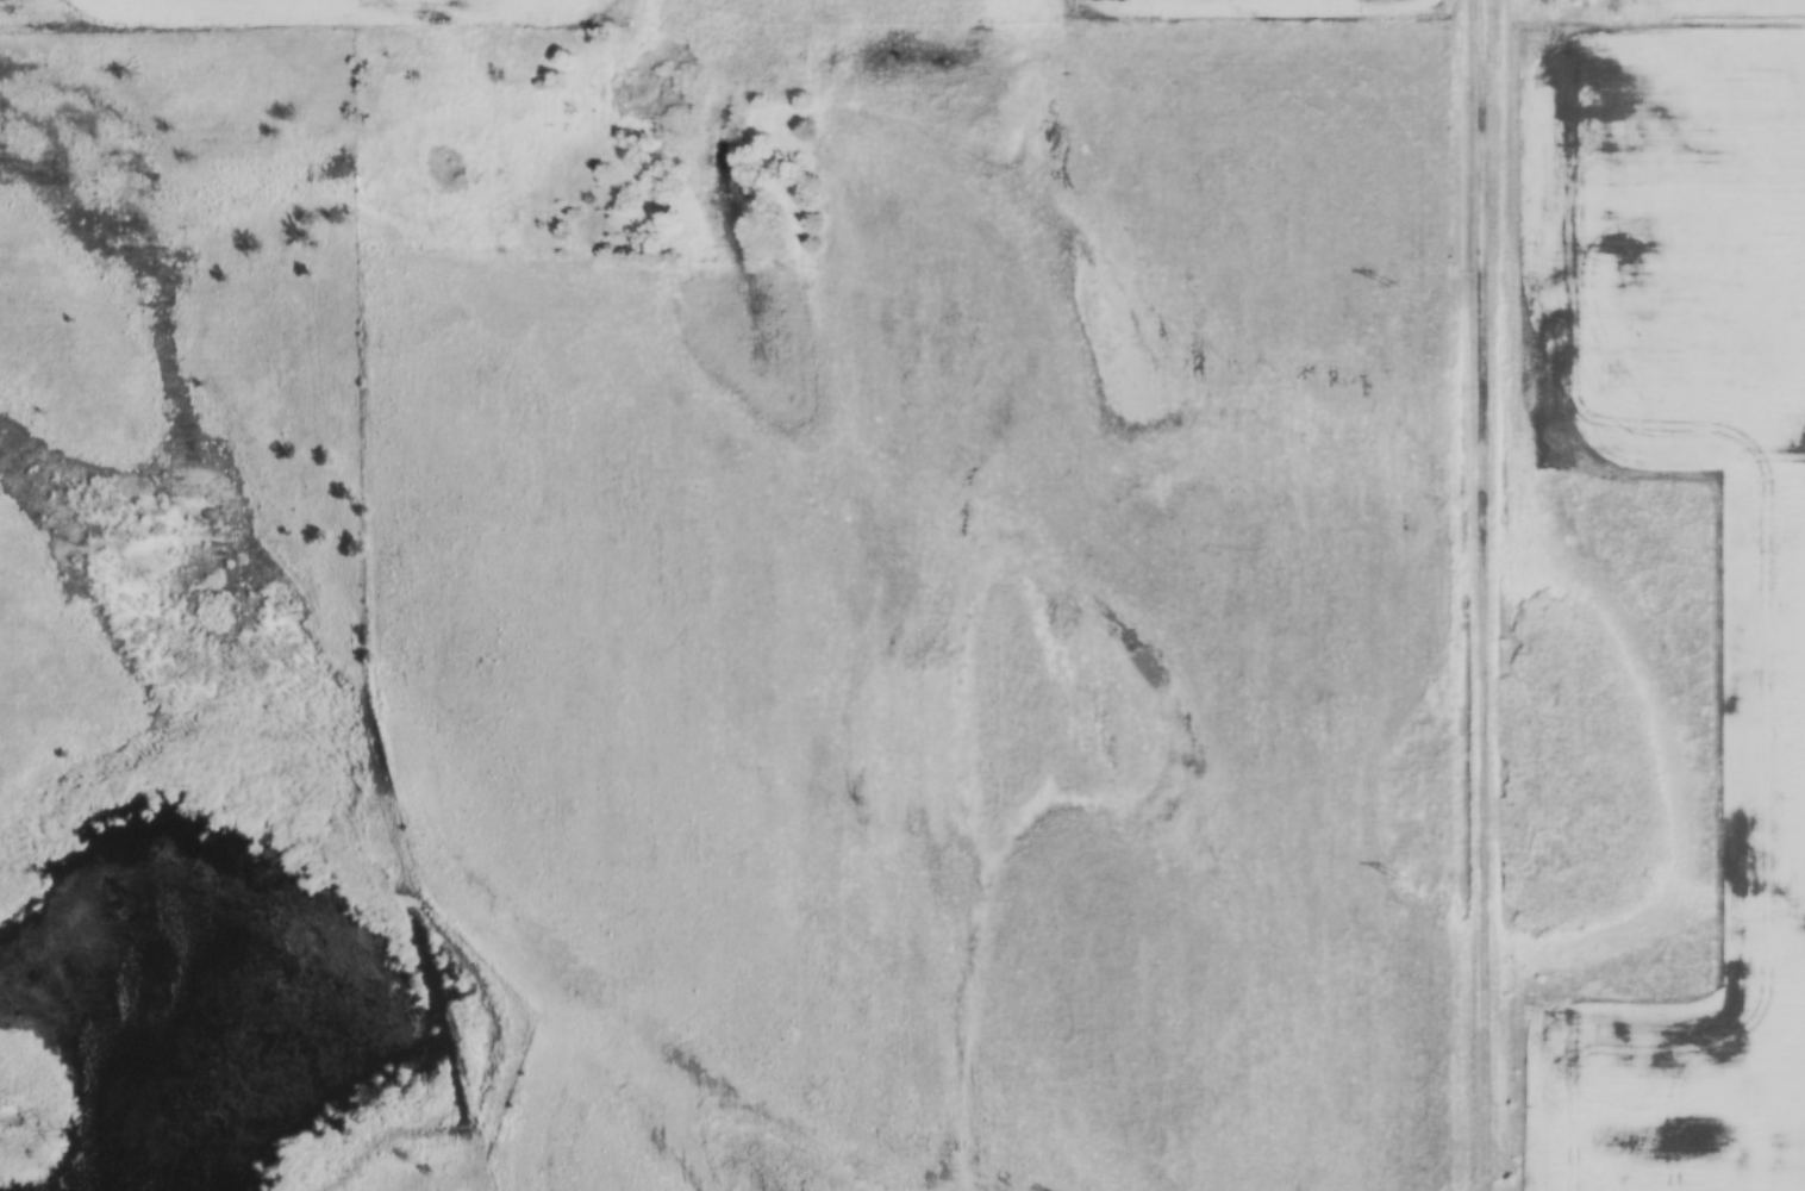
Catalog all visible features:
power tower: (1393, 288)
road: (1492, 594)
power tower: (1401, 880)

